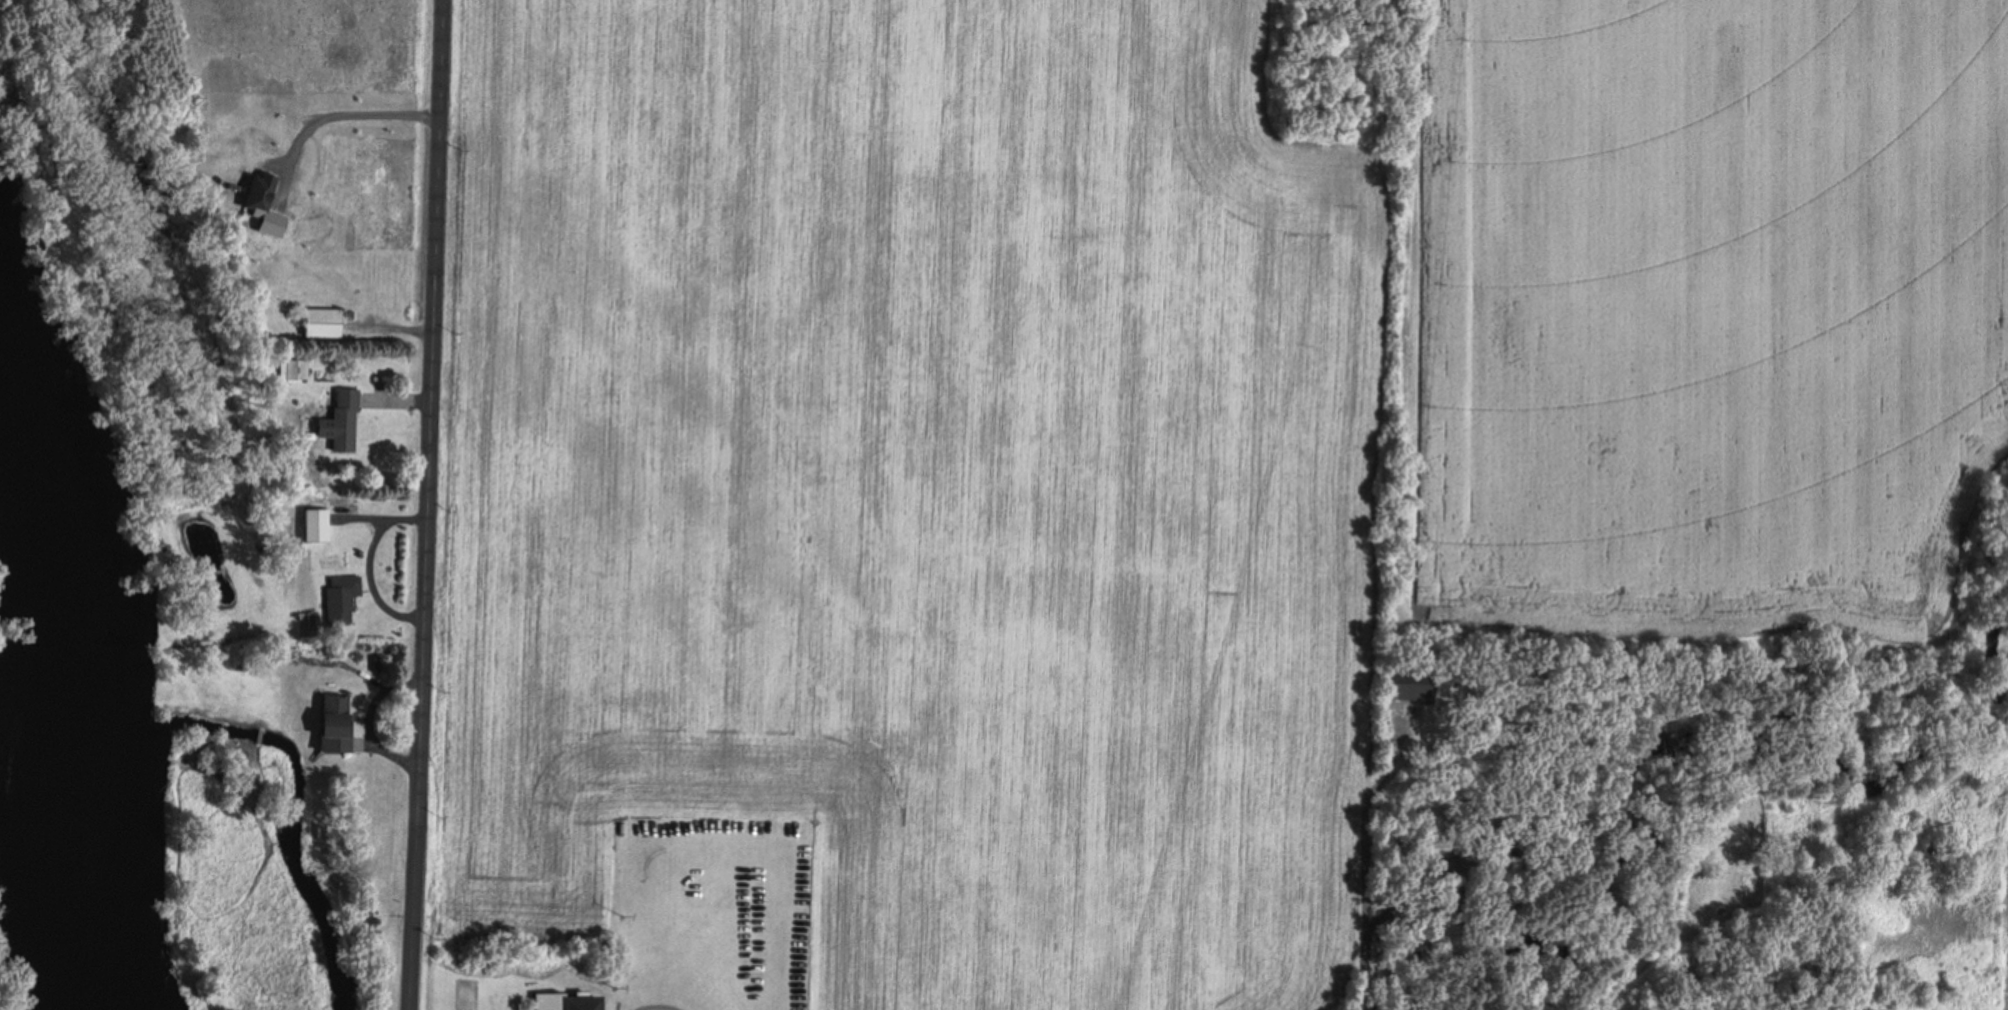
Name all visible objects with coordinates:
building: (320, 323)
building: (295, 369)
building: (342, 420)
road: (427, 505)
building: (314, 525)
building: (339, 599)
river: (75, 650)
building: (1409, 682)
building: (332, 722)
road: (1365, 851)
park: (714, 915)
building: (548, 1000)

